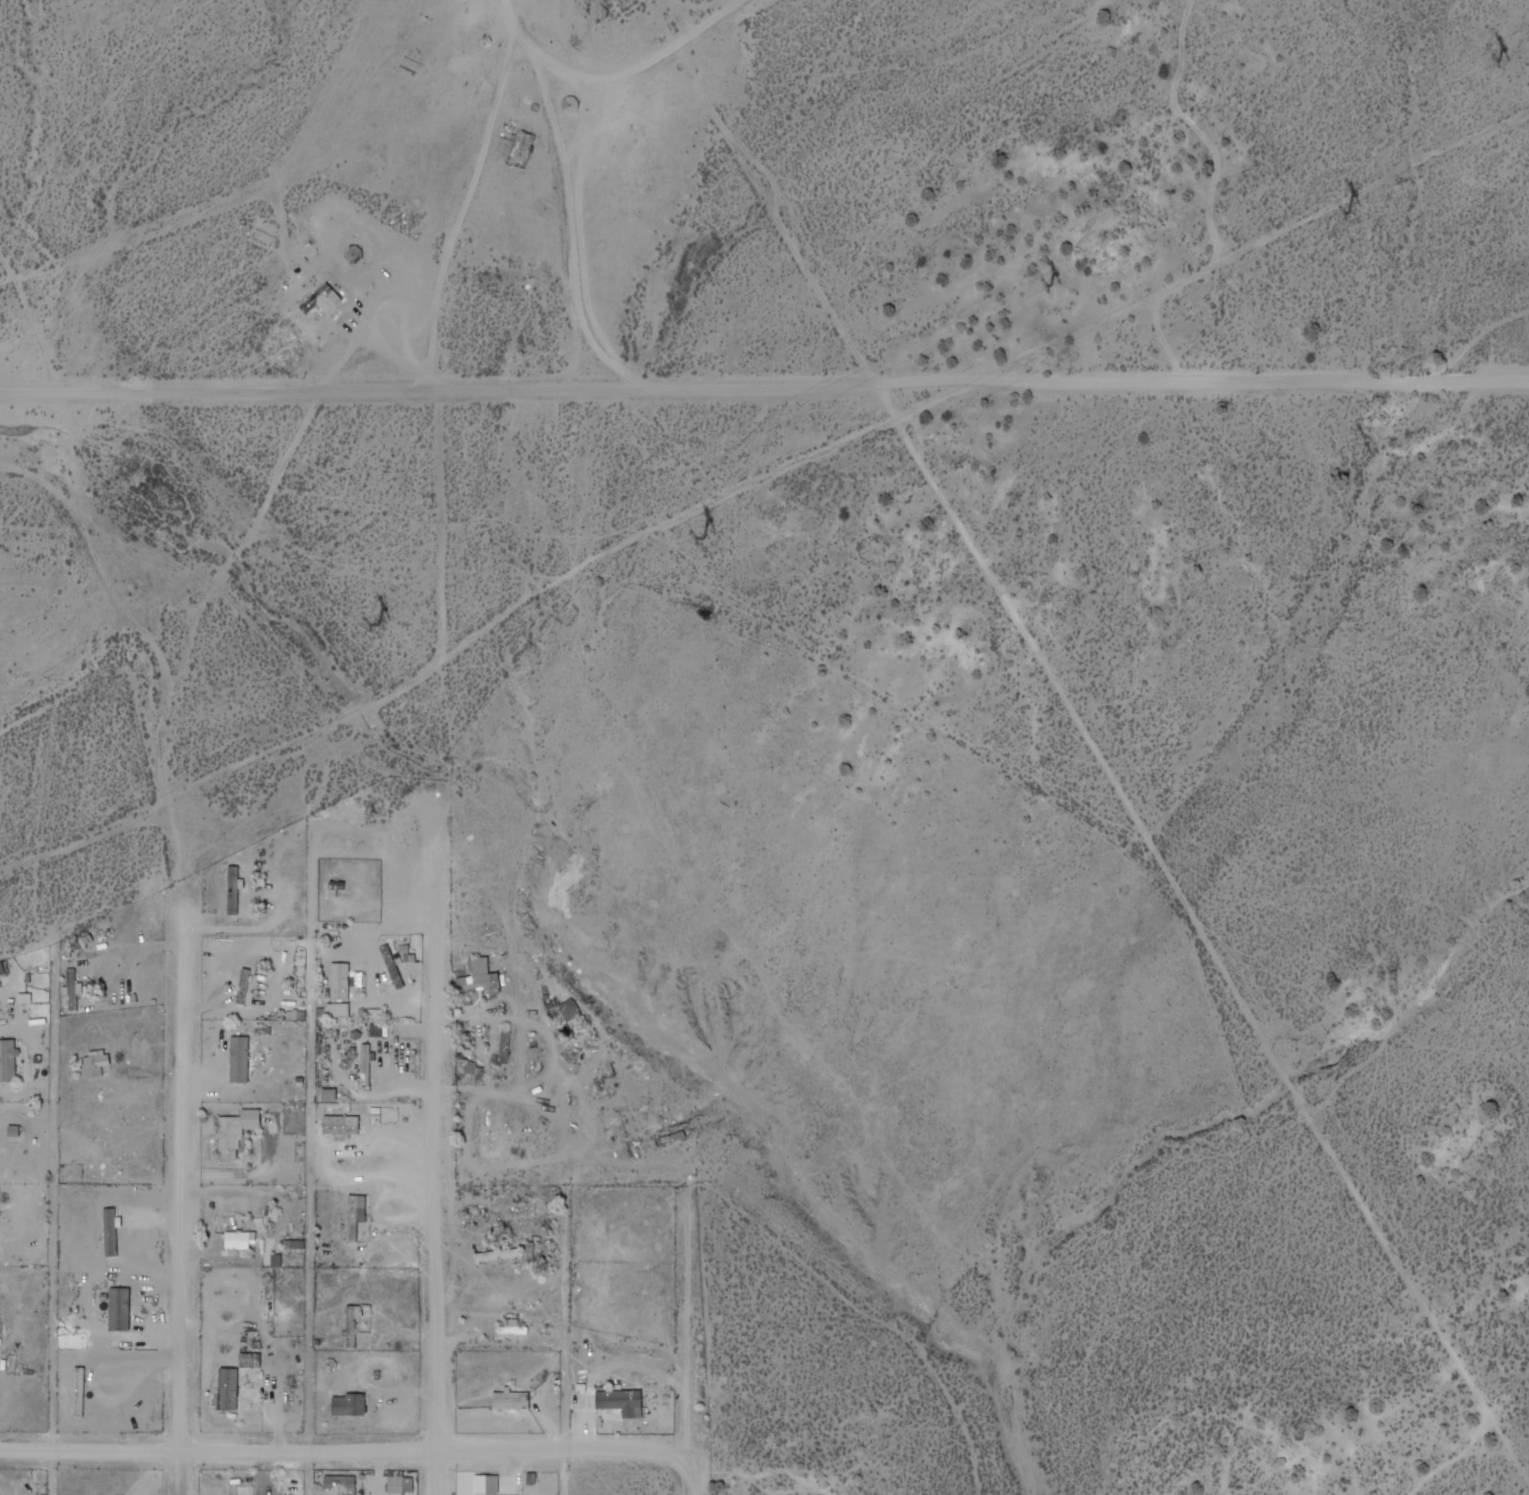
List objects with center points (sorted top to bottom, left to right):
power tower: (1504, 62)
power tower: (1354, 216)
power tower: (1053, 286)
building: (322, 301)
road: (764, 390)
road: (765, 497)
power tower: (704, 538)
road: (87, 548)
power tower: (377, 630)
building: (392, 965)
building: (1, 967)
building: (476, 974)
building: (339, 980)
building: (77, 982)
building: (378, 1028)
building: (584, 1032)
building: (238, 1058)
building: (8, 1060)
building: (91, 1063)
building: (467, 1066)
building: (341, 1124)
building: (235, 1130)
road: (438, 1150)
road: (179, 1186)
building: (356, 1215)
building: (237, 1240)
building: (249, 1358)
building: (227, 1388)
building: (618, 1398)
building: (511, 1399)
building: (348, 1404)
road: (342, 1450)
road: (61, 1473)
road: (688, 1480)
building: (342, 1484)
building: (400, 1484)
building: (486, 1484)

